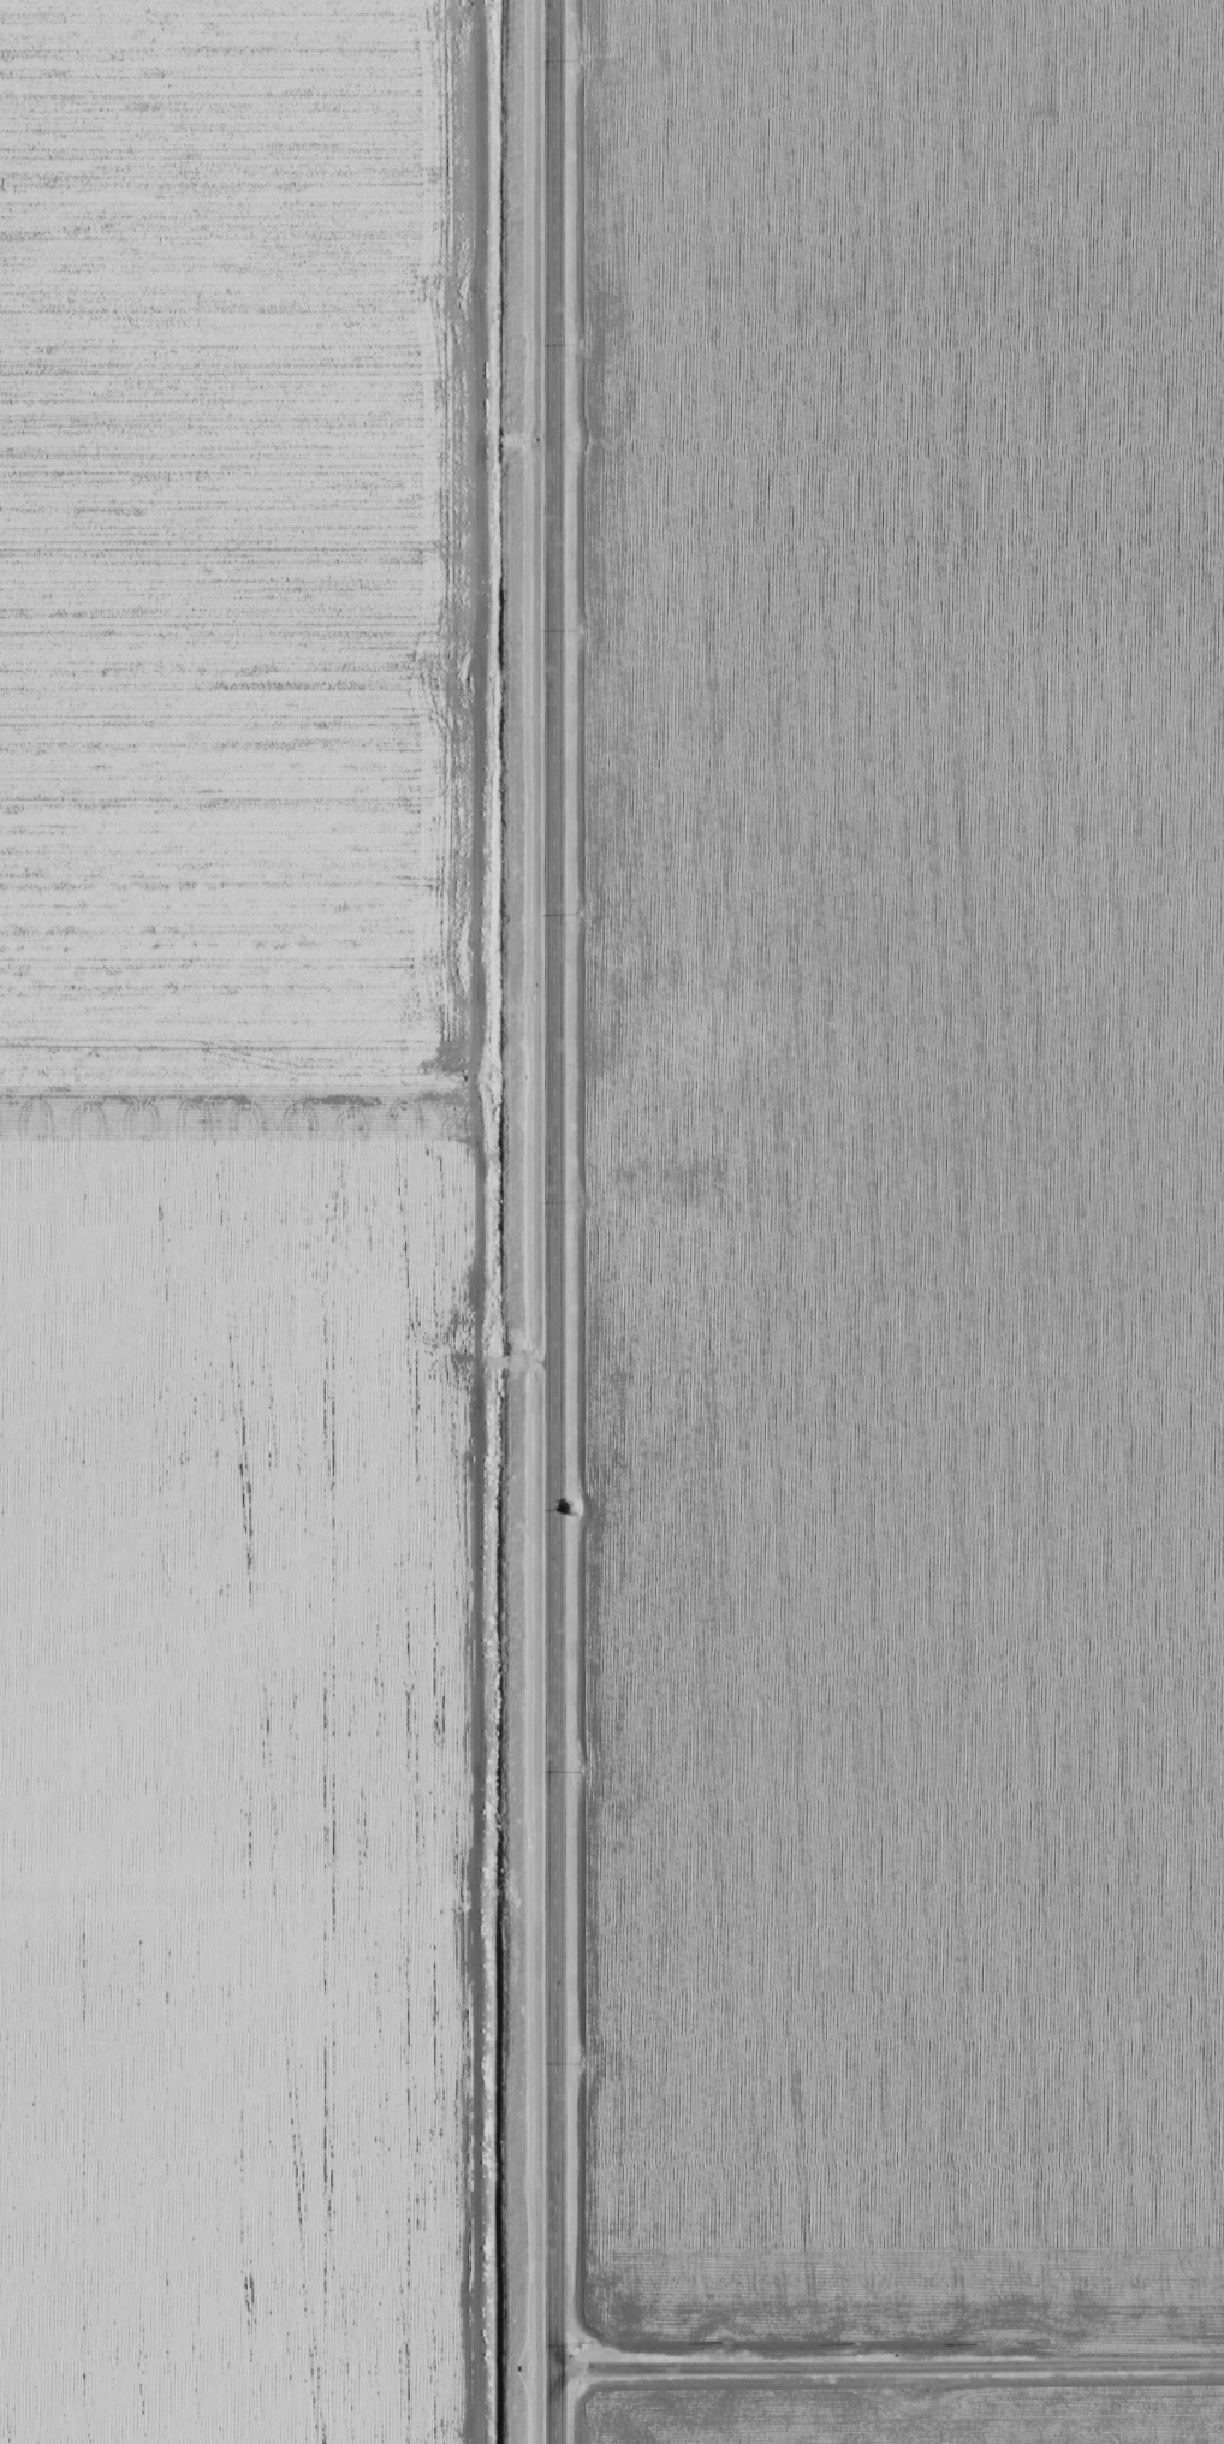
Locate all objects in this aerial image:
road: (555, 1221)
crop: (240, 1226)
road: (890, 2356)

